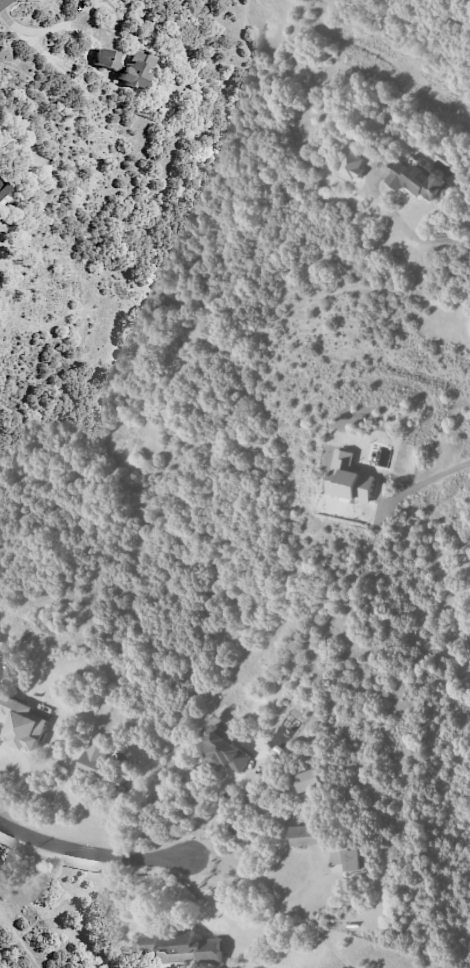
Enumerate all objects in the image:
road: (2, 2)
road: (49, 28)
building: (125, 66)
building: (352, 167)
building: (420, 180)
building: (2, 189)
road: (415, 235)
building: (350, 478)
road: (422, 482)
building: (22, 723)
building: (222, 745)
building: (102, 767)
building: (308, 780)
road: (219, 814)
building: (306, 834)
road: (88, 852)
building: (346, 859)
road: (256, 893)
building: (181, 946)

